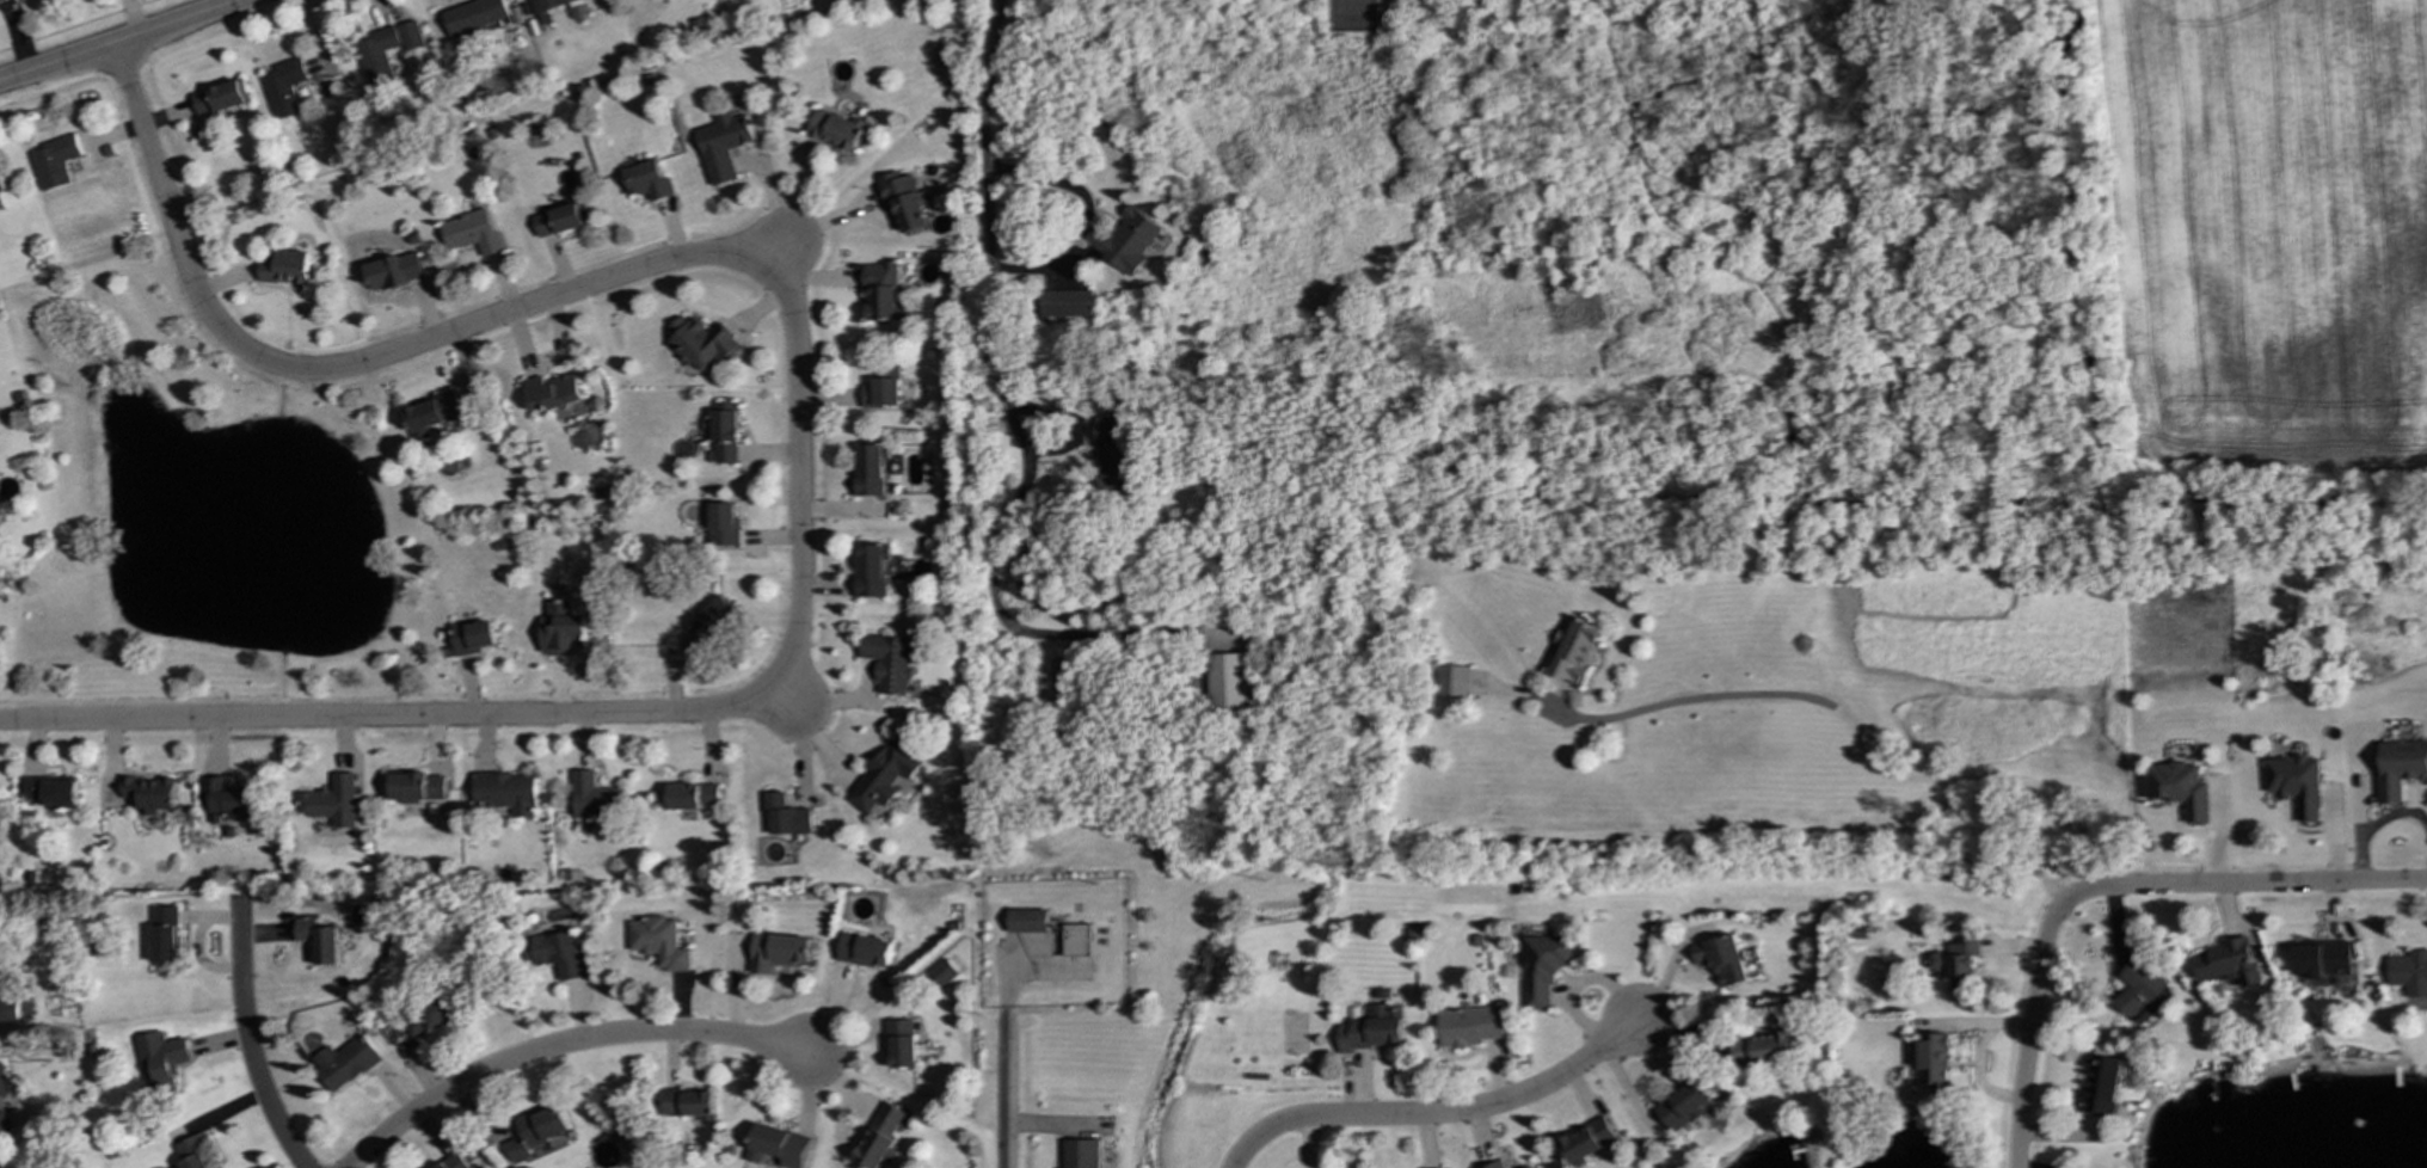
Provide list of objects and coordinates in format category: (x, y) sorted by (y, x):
building: (0, 0)
park: (1351, 7)
building: (548, 8)
building: (475, 16)
road: (123, 41)
building: (376, 67)
building: (284, 88)
building: (220, 98)
building: (835, 130)
building: (721, 145)
building: (54, 162)
building: (646, 180)
building: (1, 184)
road: (985, 188)
building: (905, 199)
road: (1087, 217)
building: (561, 220)
crop: (2278, 223)
building: (472, 232)
building: (1125, 240)
road: (775, 257)
building: (284, 268)
building: (393, 271)
building: (885, 293)
building: (1065, 303)
building: (701, 343)
building: (883, 388)
building: (552, 393)
building: (432, 413)
road: (797, 425)
building: (726, 432)
building: (1114, 454)
building: (872, 469)
building: (724, 525)
building: (872, 570)
road: (994, 589)
building: (711, 625)
building: (564, 631)
building: (472, 638)
building: (1575, 651)
building: (889, 662)
building: (1452, 681)
building: (1227, 684)
road: (785, 699)
road: (1858, 732)
building: (2400, 767)
building: (883, 776)
building: (2297, 785)
building: (418, 787)
building: (2179, 789)
building: (51, 791)
building: (508, 792)
building: (149, 793)
building: (595, 797)
building: (694, 797)
building: (226, 800)
building: (331, 801)
building: (786, 816)
road: (2249, 886)
building: (1026, 921)
building: (319, 940)
building: (658, 942)
building: (778, 951)
building: (864, 951)
building: (558, 954)
building: (1722, 959)
building: (2320, 959)
building: (2222, 960)
building: (1956, 963)
building: (1544, 967)
building: (942, 973)
building: (2408, 973)
building: (2139, 991)
building: (8, 1010)
building: (430, 1014)
building: (1471, 1026)
road: (2028, 1026)
building: (1374, 1029)
road: (245, 1039)
building: (901, 1044)
road: (560, 1045)
building: (1761, 1049)
building: (1960, 1049)
building: (160, 1058)
building: (1935, 1061)
building: (345, 1063)
building: (2, 1081)
building: (2099, 1082)
road: (1006, 1092)
building: (687, 1102)
building: (1683, 1106)
road: (1437, 1113)
building: (2, 1124)
building: (529, 1131)
building: (879, 1137)
building: (1587, 1141)
building: (776, 1147)
building: (192, 1151)
building: (1080, 1154)

